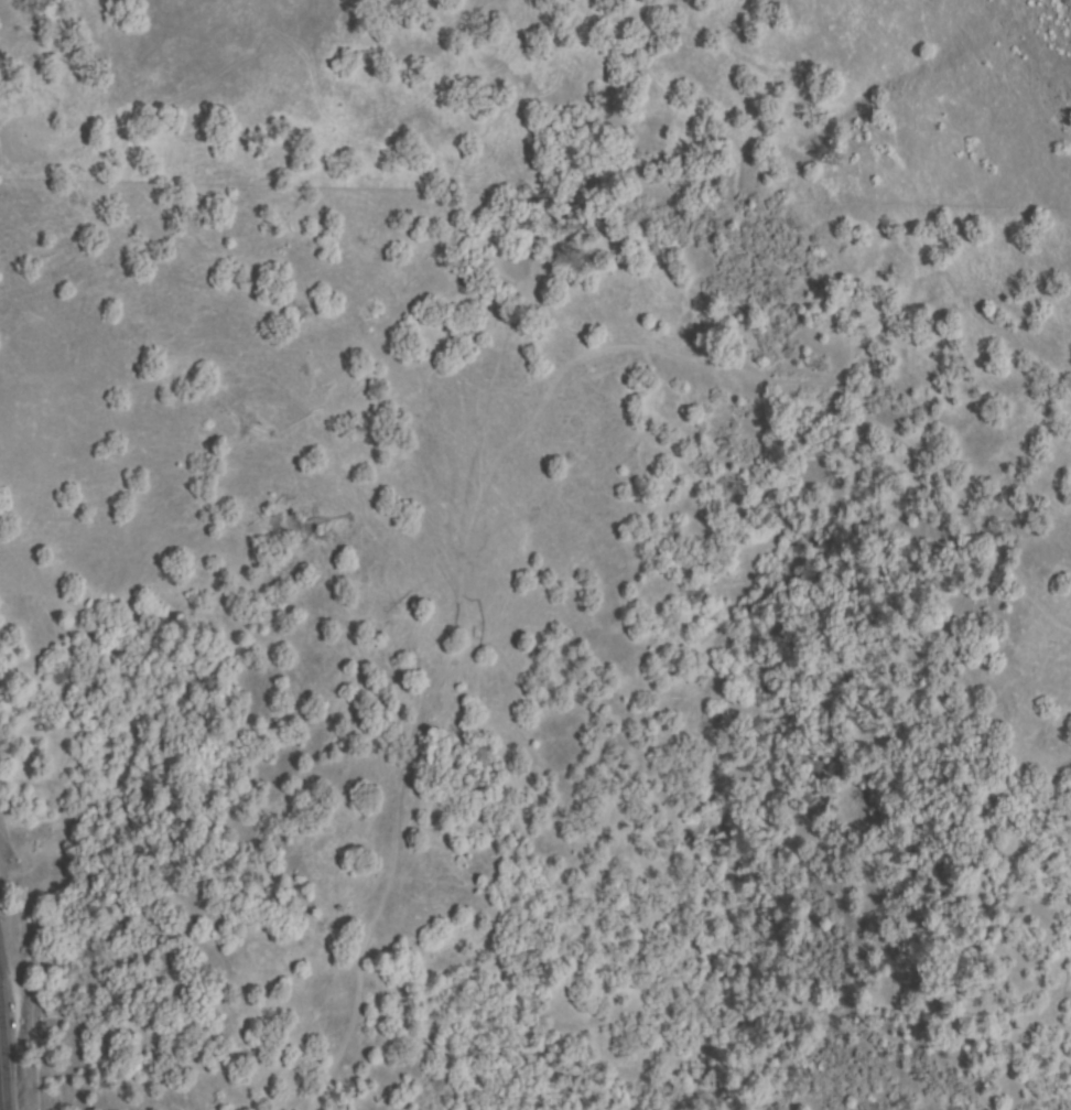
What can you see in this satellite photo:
road: (1, 1090)

